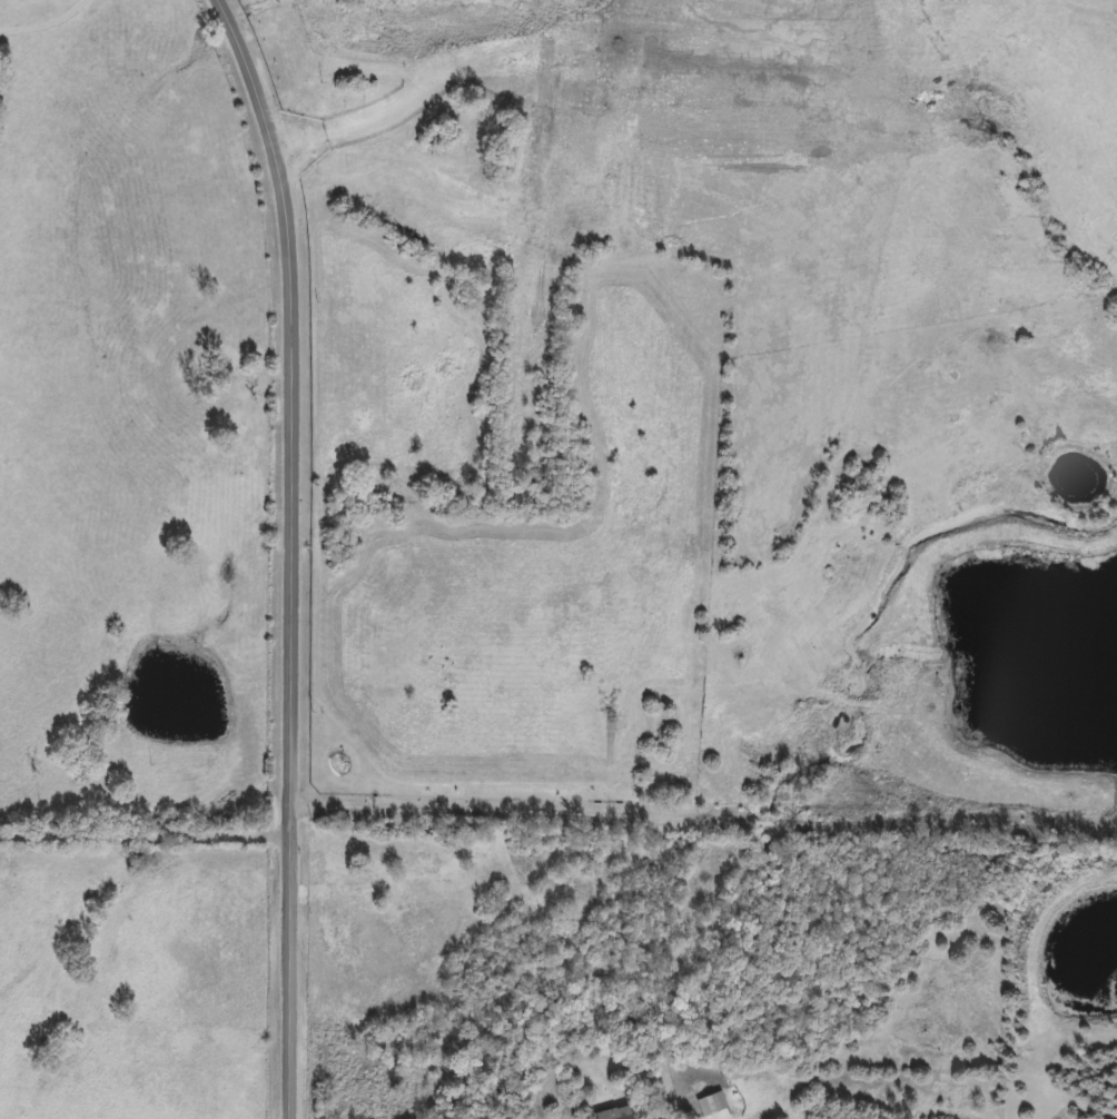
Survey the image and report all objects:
road: (289, 553)
road: (702, 826)
road: (145, 840)
building: (712, 1105)
building: (616, 1113)

